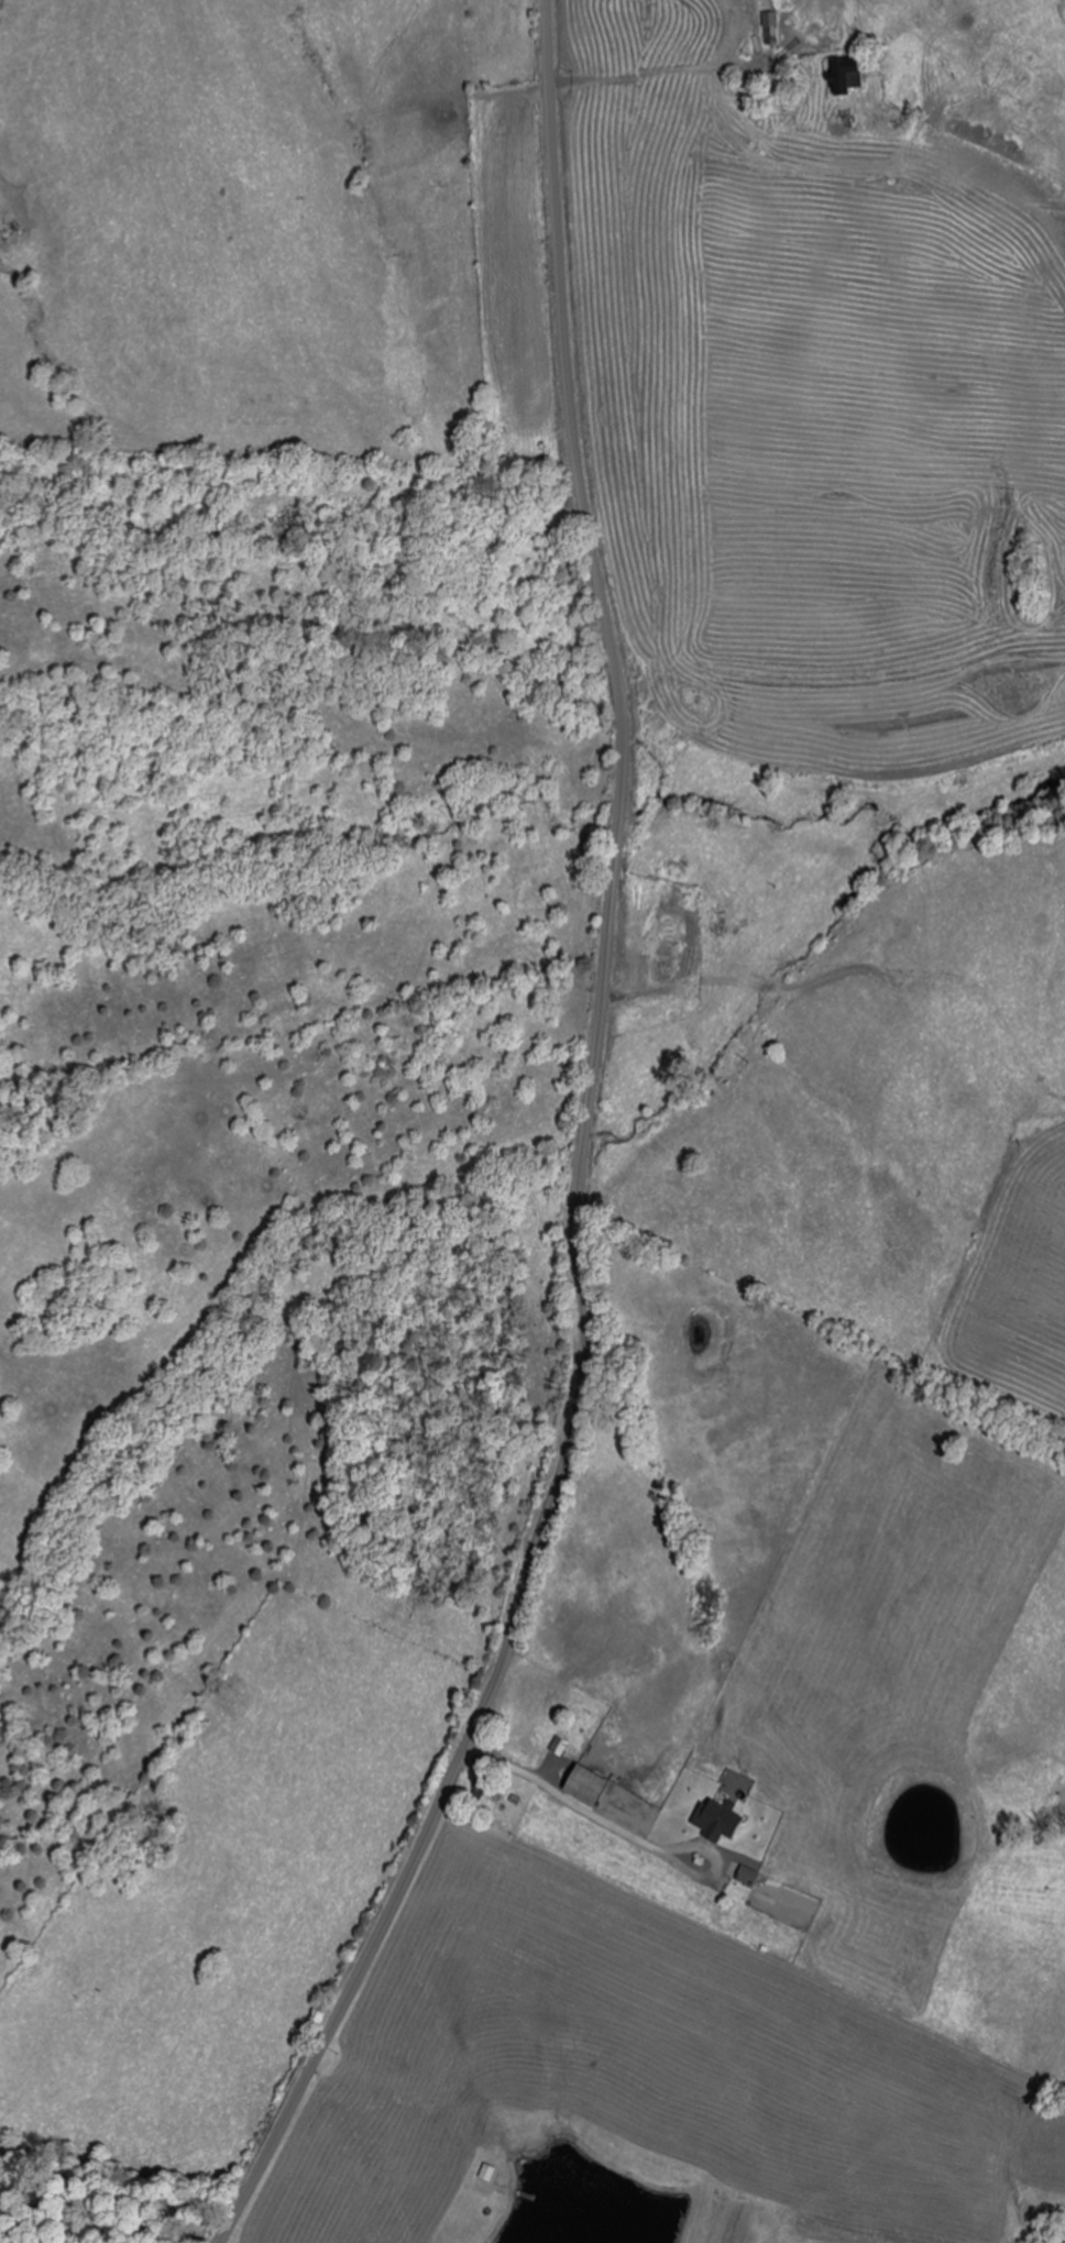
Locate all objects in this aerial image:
building: (850, 76)
building: (688, 719)
road: (580, 1156)
building: (560, 1746)
building: (591, 1785)
building: (488, 1793)
building: (749, 1876)

